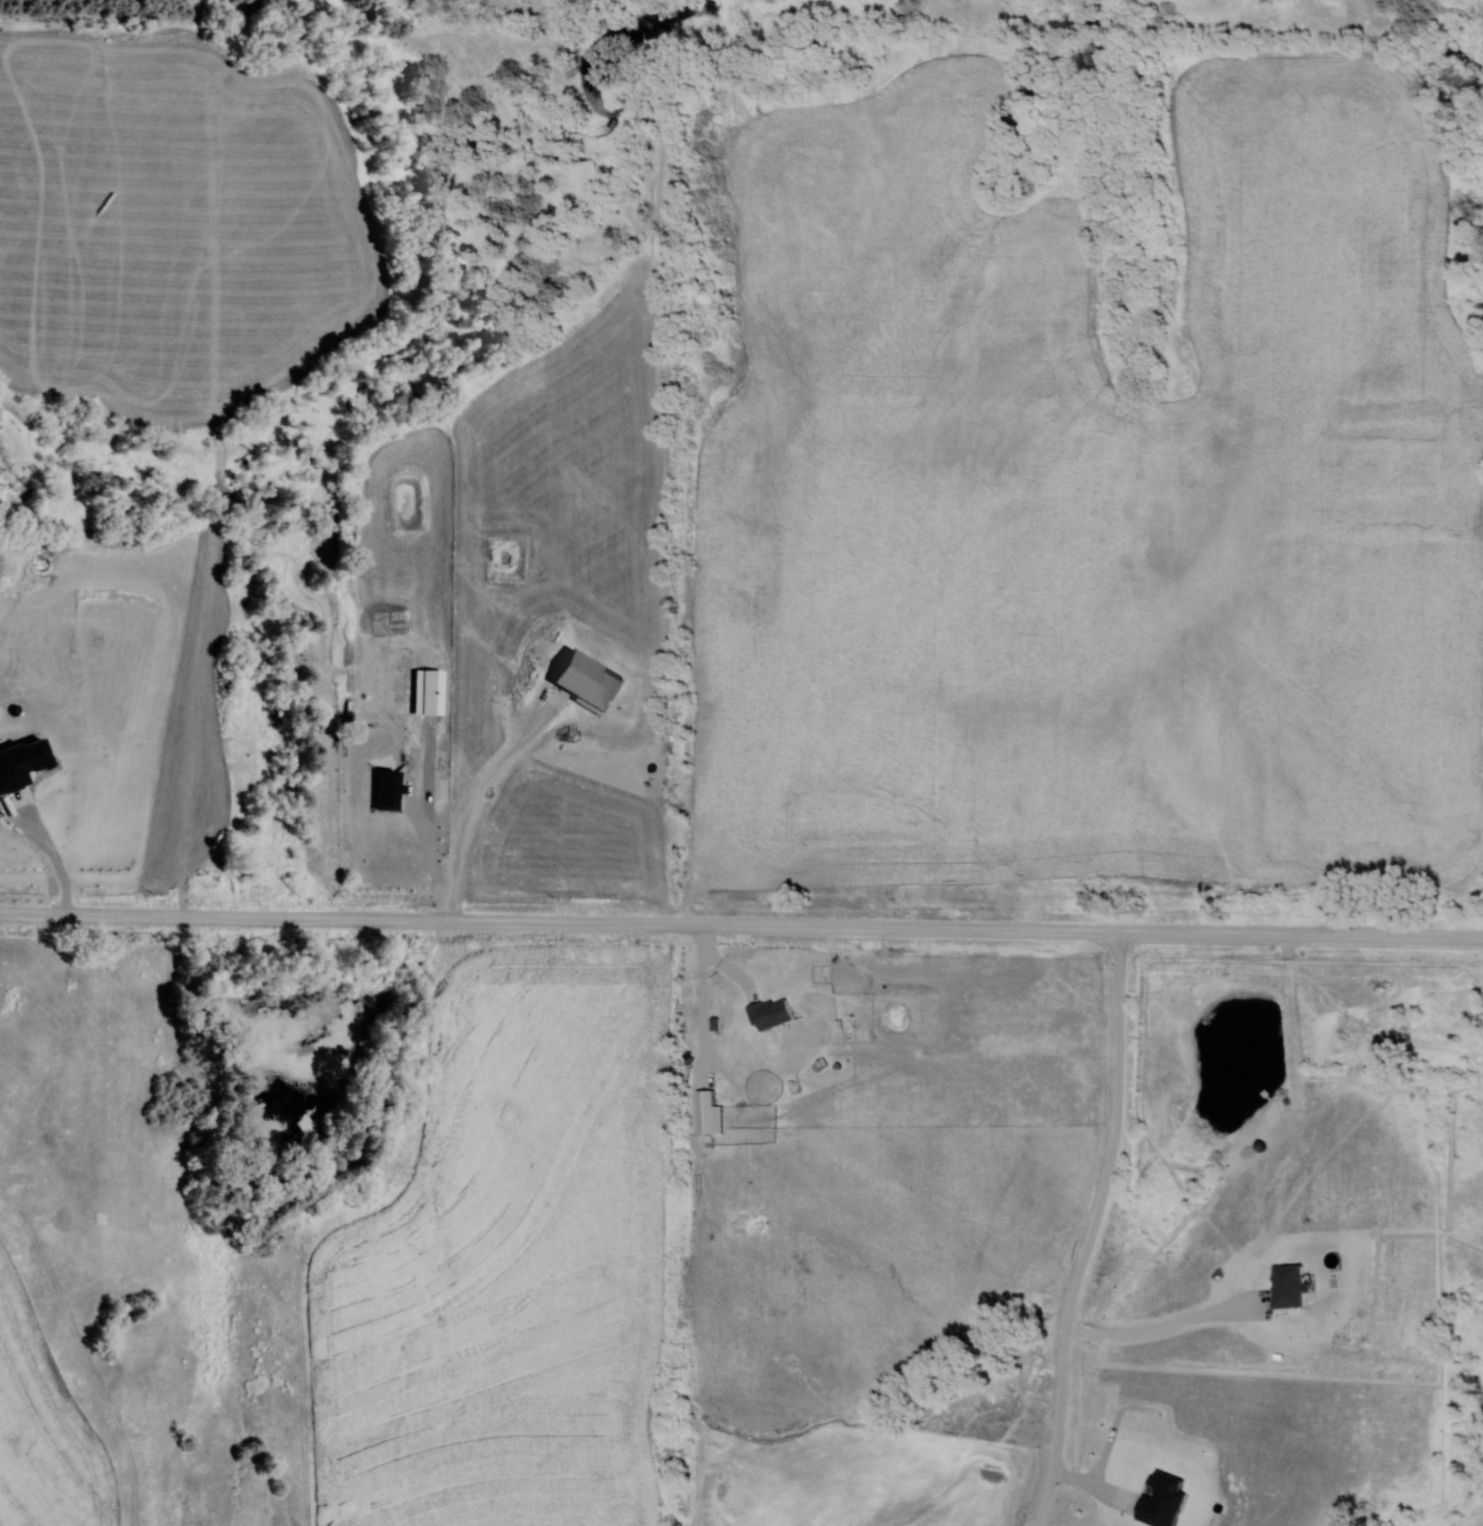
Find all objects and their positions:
road: (741, 924)

